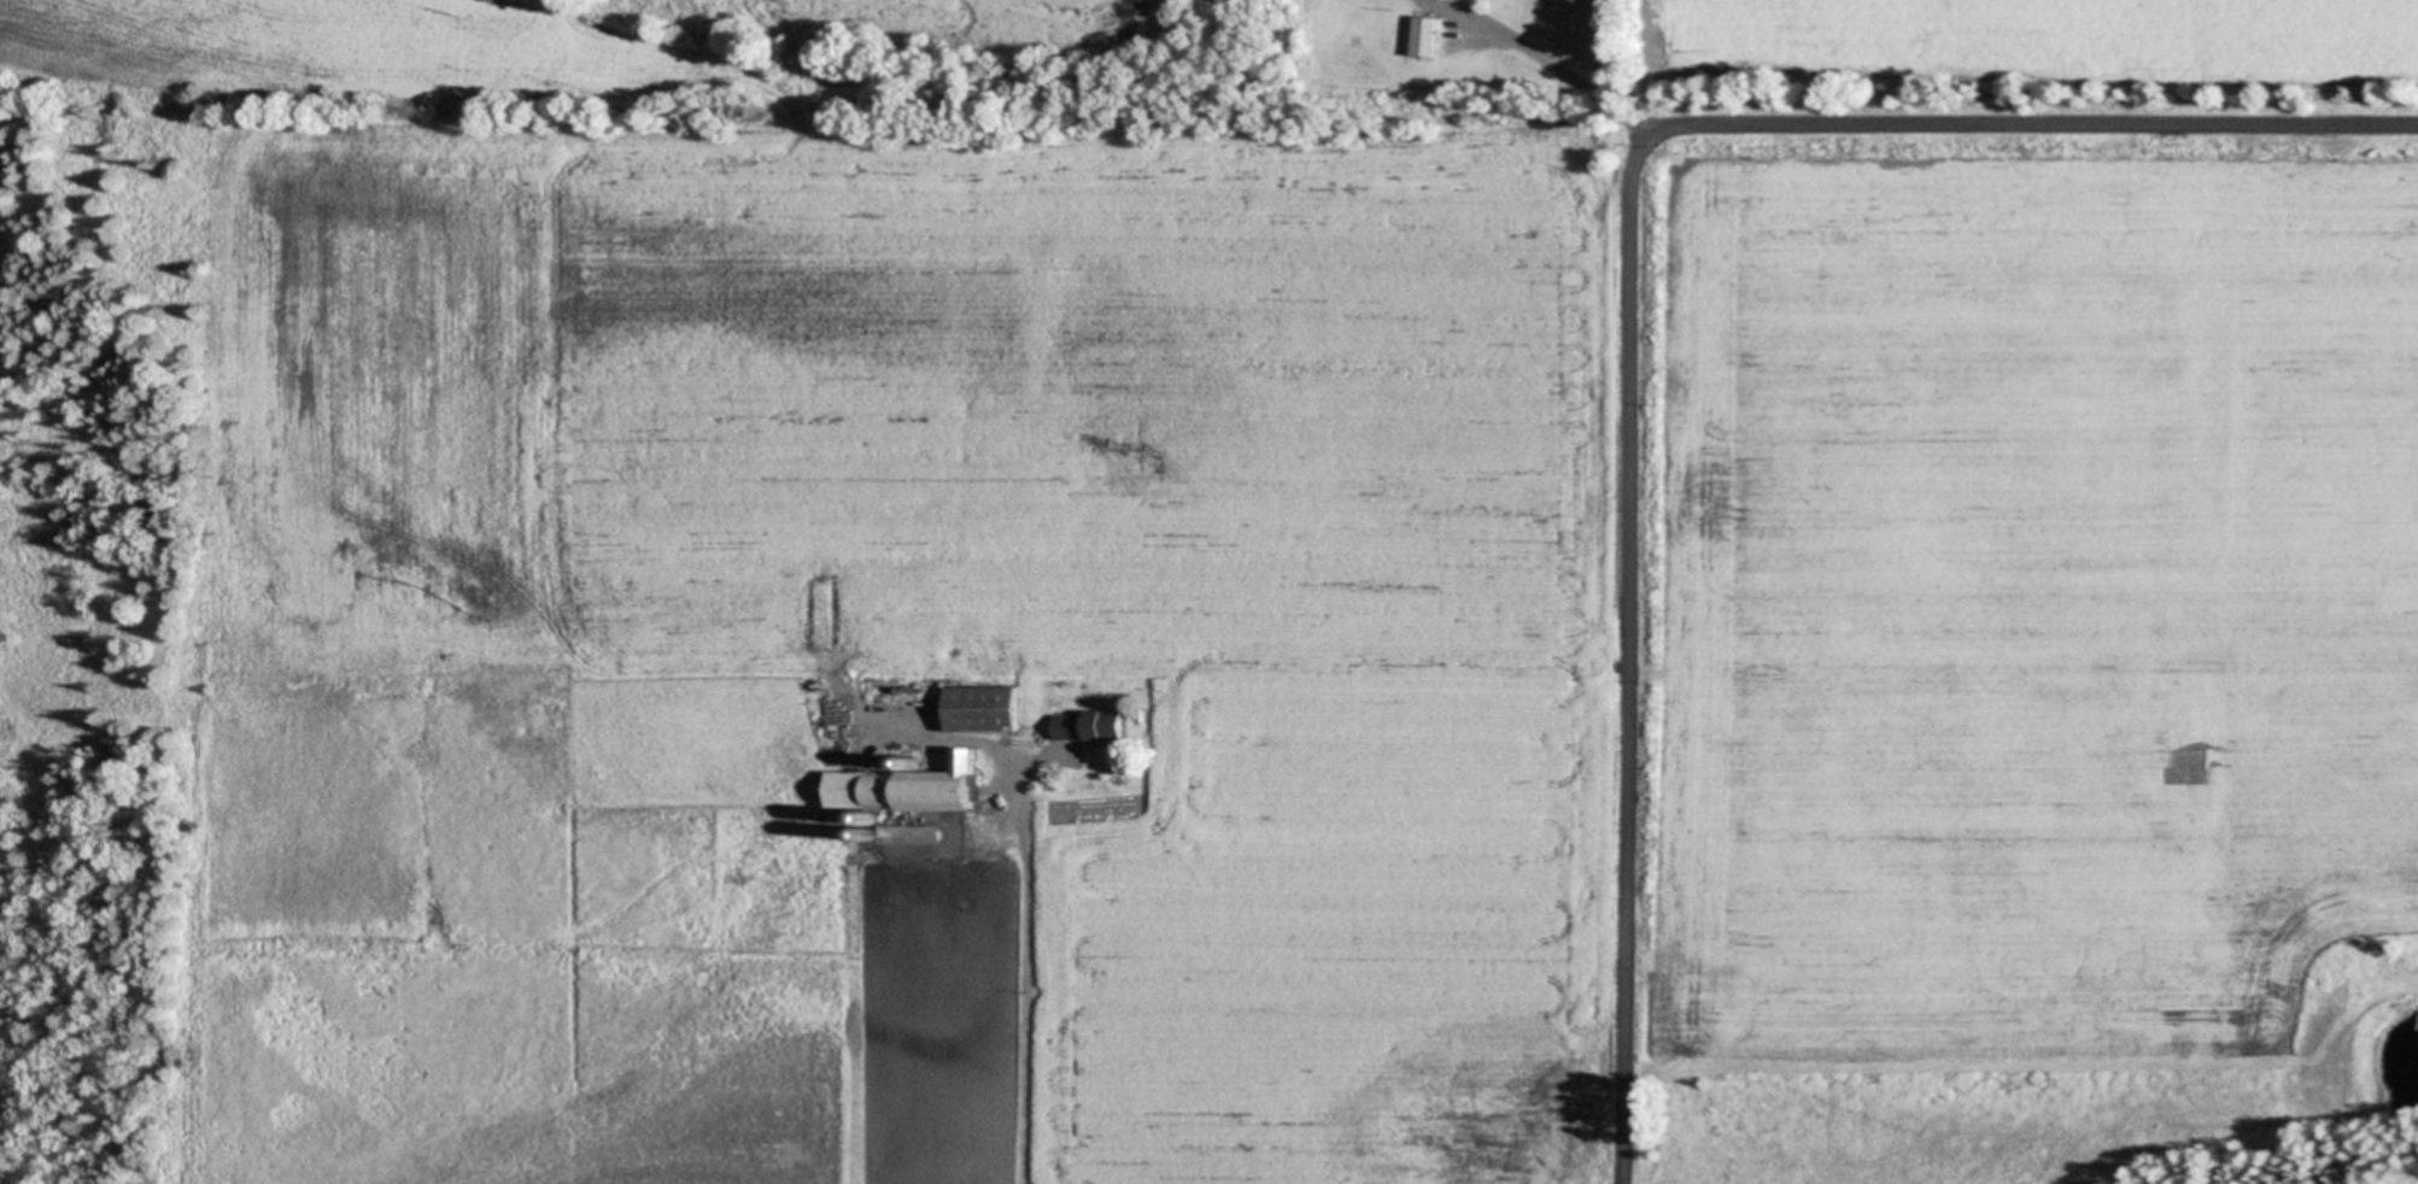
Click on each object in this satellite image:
building: (1427, 36)
road: (1550, 61)
road: (1626, 264)
building: (984, 709)
building: (1105, 725)
building: (1066, 727)
building: (911, 789)
building: (900, 832)
road: (1026, 977)
road: (1622, 1180)

